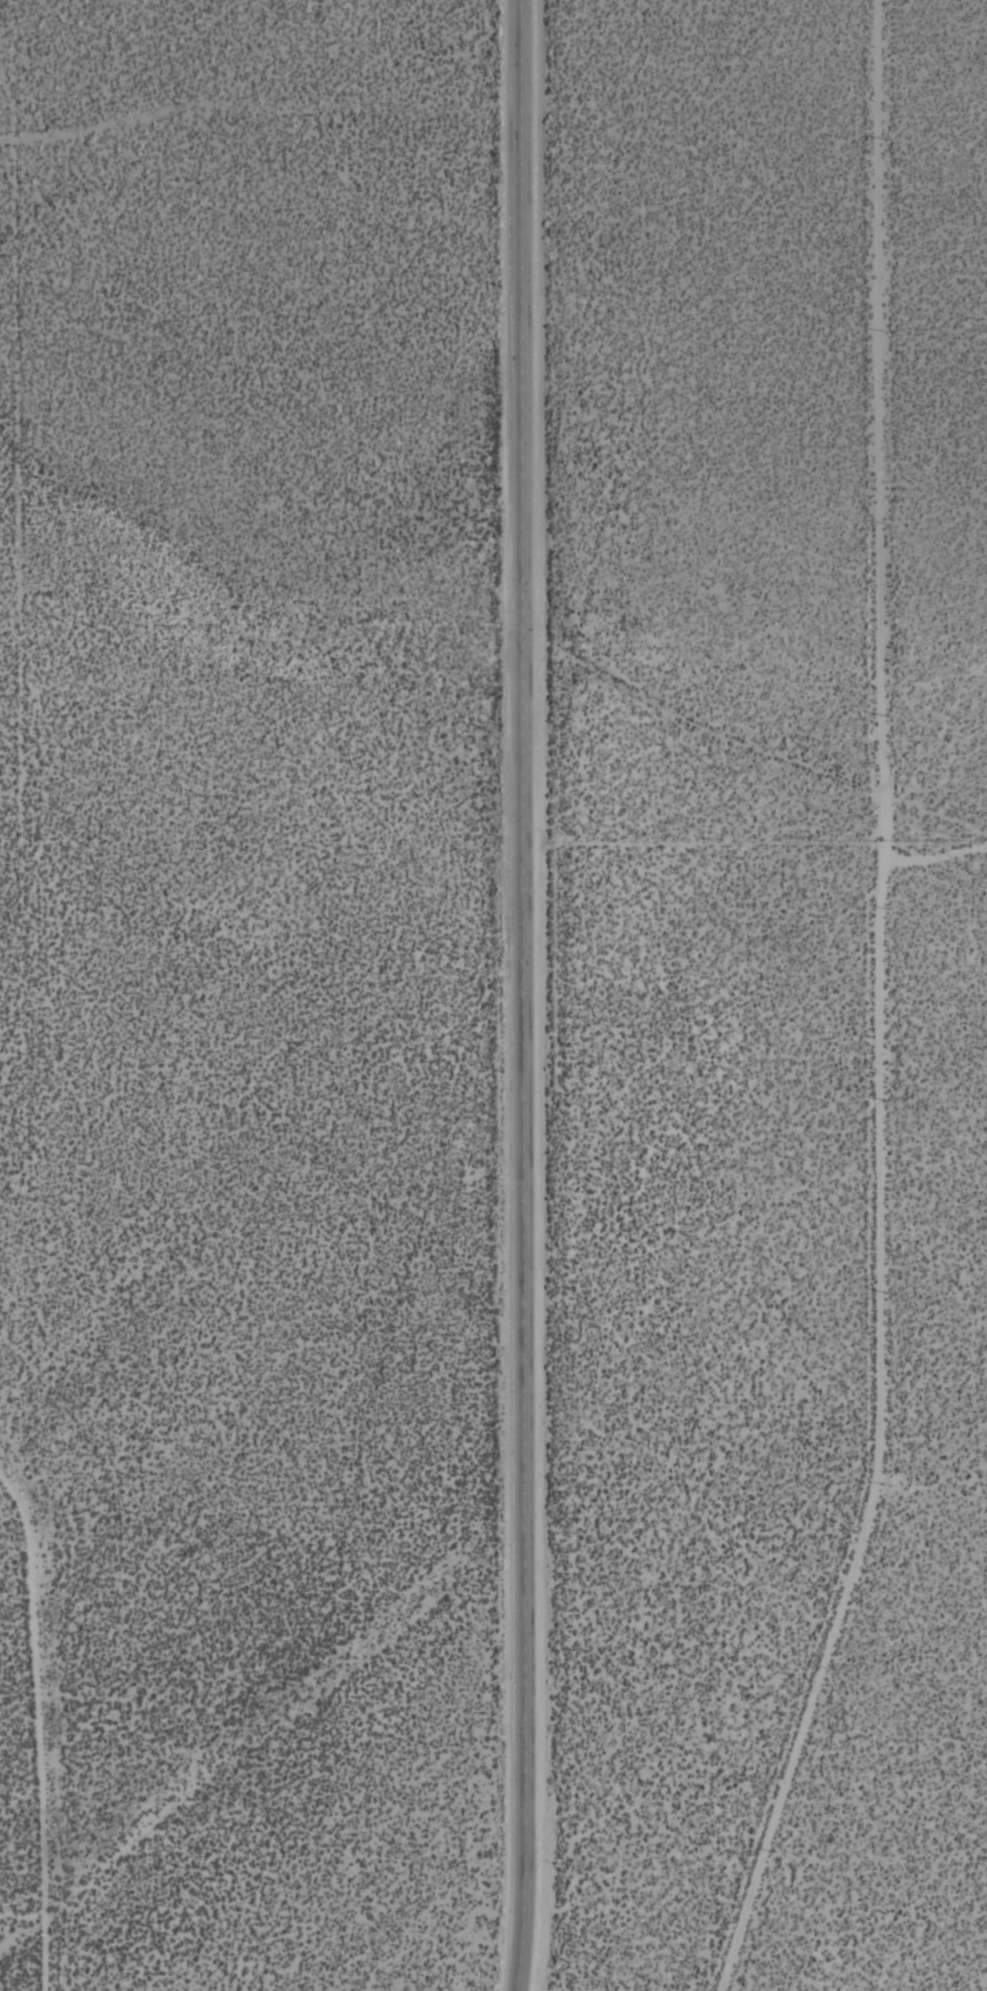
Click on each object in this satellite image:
road: (936, 851)
road: (524, 995)
road: (885, 1007)
road: (44, 1725)

